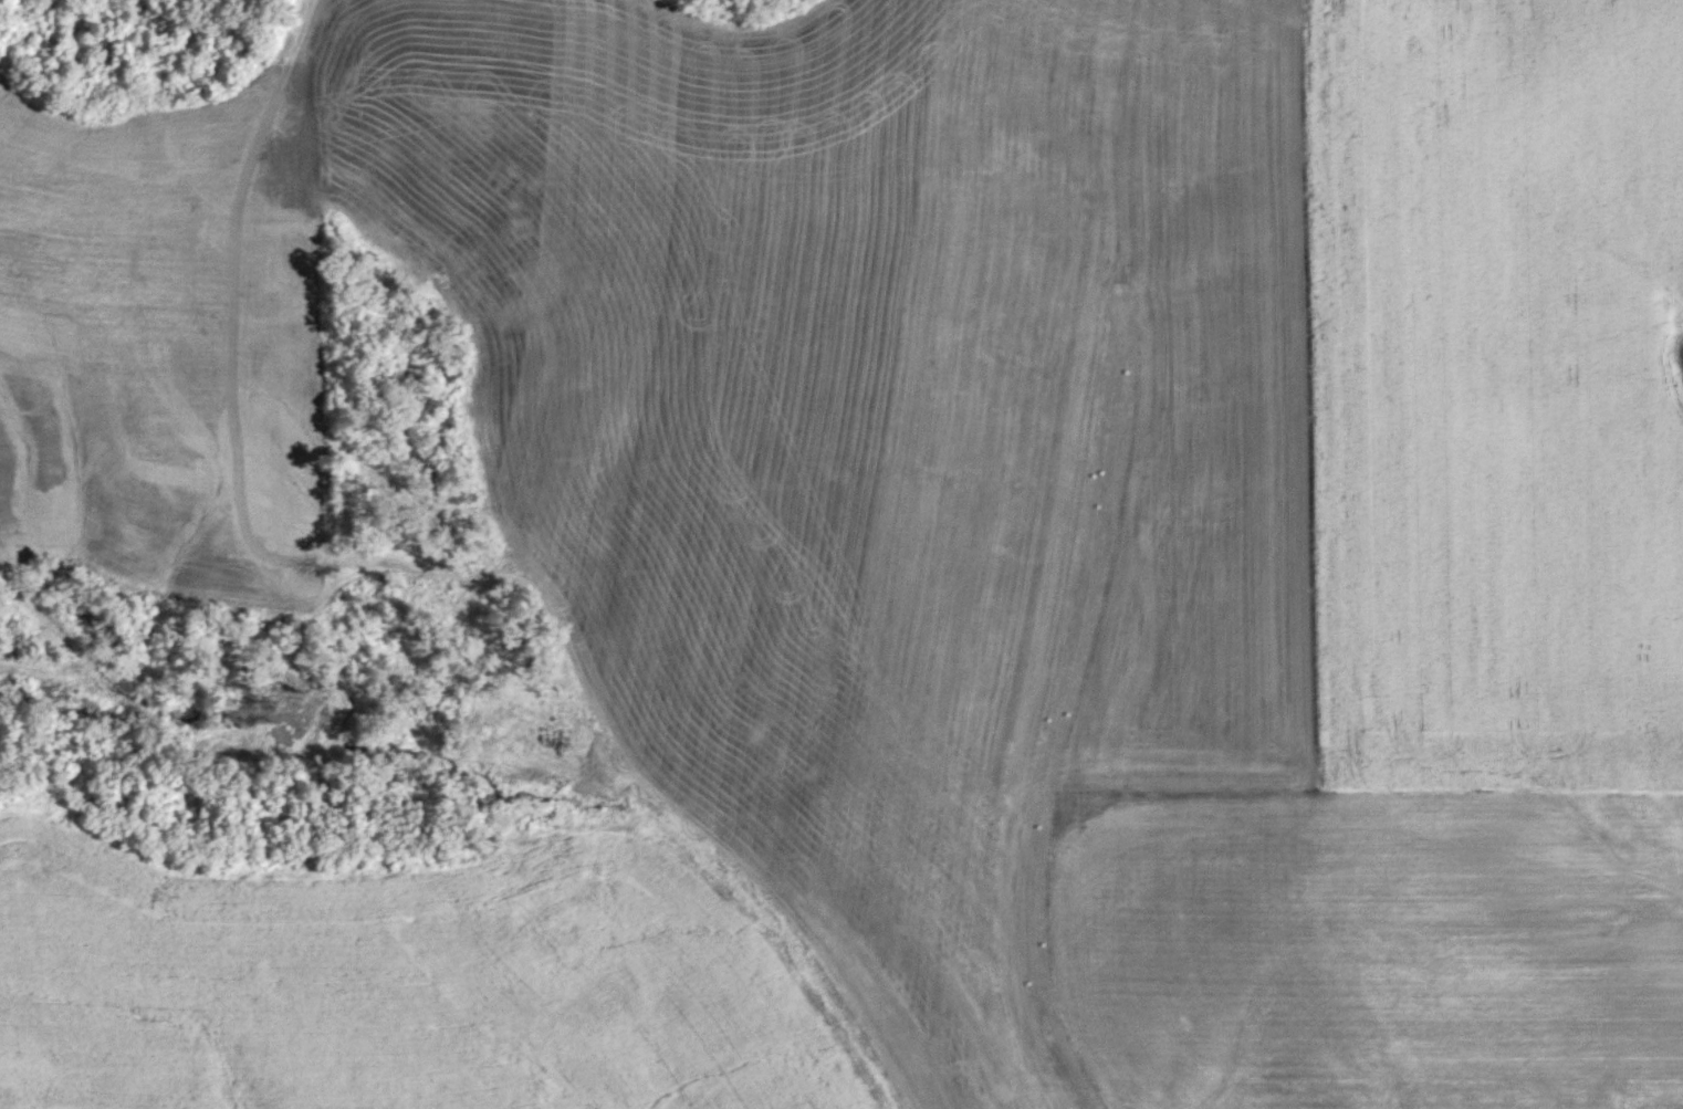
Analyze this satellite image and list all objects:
road: (358, 290)
crop: (1498, 389)

